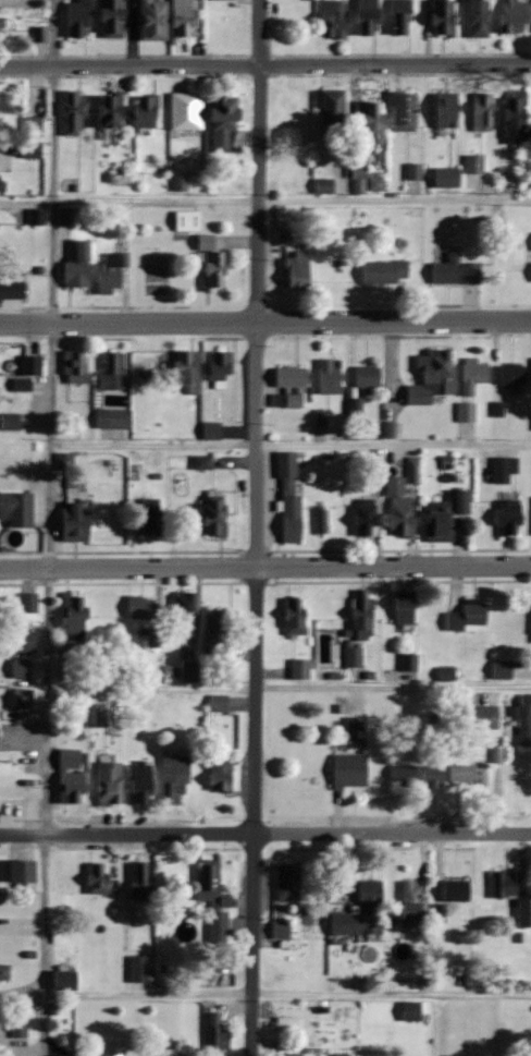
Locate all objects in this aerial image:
building: (514, 16)
building: (369, 17)
building: (403, 17)
building: (79, 19)
building: (114, 19)
building: (186, 19)
building: (334, 19)
building: (444, 19)
building: (480, 19)
building: (155, 20)
building: (2, 24)
road: (264, 64)
building: (112, 110)
building: (448, 110)
building: (187, 111)
building: (148, 112)
building: (406, 112)
building: (483, 112)
building: (76, 113)
building: (335, 113)
building: (296, 114)
building: (518, 119)
building: (373, 120)
building: (225, 124)
building: (34, 126)
building: (360, 171)
building: (415, 172)
building: (448, 178)
building: (1, 179)
building: (324, 186)
road: (265, 199)
building: (65, 217)
building: (188, 221)
building: (212, 262)
building: (79, 266)
building: (300, 268)
building: (456, 270)
building: (385, 271)
building: (112, 272)
building: (12, 291)
road: (264, 319)
building: (33, 365)
building: (222, 365)
building: (75, 366)
building: (189, 369)
building: (113, 373)
building: (514, 374)
building: (474, 375)
building: (330, 376)
building: (368, 376)
building: (293, 377)
building: (433, 377)
building: (296, 402)
building: (467, 412)
building: (113, 418)
building: (11, 421)
building: (213, 430)
road: (291, 442)
building: (505, 469)
building: (291, 499)
building: (465, 502)
building: (399, 508)
building: (17, 509)
building: (214, 513)
building: (152, 518)
building: (510, 518)
building: (323, 520)
building: (367, 520)
building: (77, 522)
building: (440, 522)
road: (50, 527)
road: (259, 527)
road: (265, 566)
building: (29, 603)
building: (185, 606)
building: (144, 608)
building: (406, 608)
building: (296, 616)
building: (469, 616)
building: (75, 617)
building: (362, 626)
building: (218, 631)
building: (153, 638)
building: (410, 661)
building: (503, 668)
building: (190, 670)
building: (72, 672)
road: (287, 685)
building: (24, 697)
building: (219, 702)
building: (103, 715)
building: (484, 716)
building: (524, 718)
building: (357, 729)
building: (351, 770)
building: (434, 774)
building: (73, 776)
building: (222, 776)
building: (468, 776)
building: (405, 777)
building: (176, 780)
building: (111, 784)
building: (141, 784)
road: (265, 833)
building: (24, 872)
building: (98, 879)
building: (141, 882)
building: (289, 882)
building: (506, 884)
building: (457, 890)
building: (415, 901)
building: (215, 902)
building: (363, 912)
building: (524, 913)
building: (282, 928)
building: (139, 969)
building: (4, 971)
building: (66, 980)
road: (285, 990)
building: (219, 1032)
building: (113, 1052)
building: (289, 1055)
building: (456, 1055)

